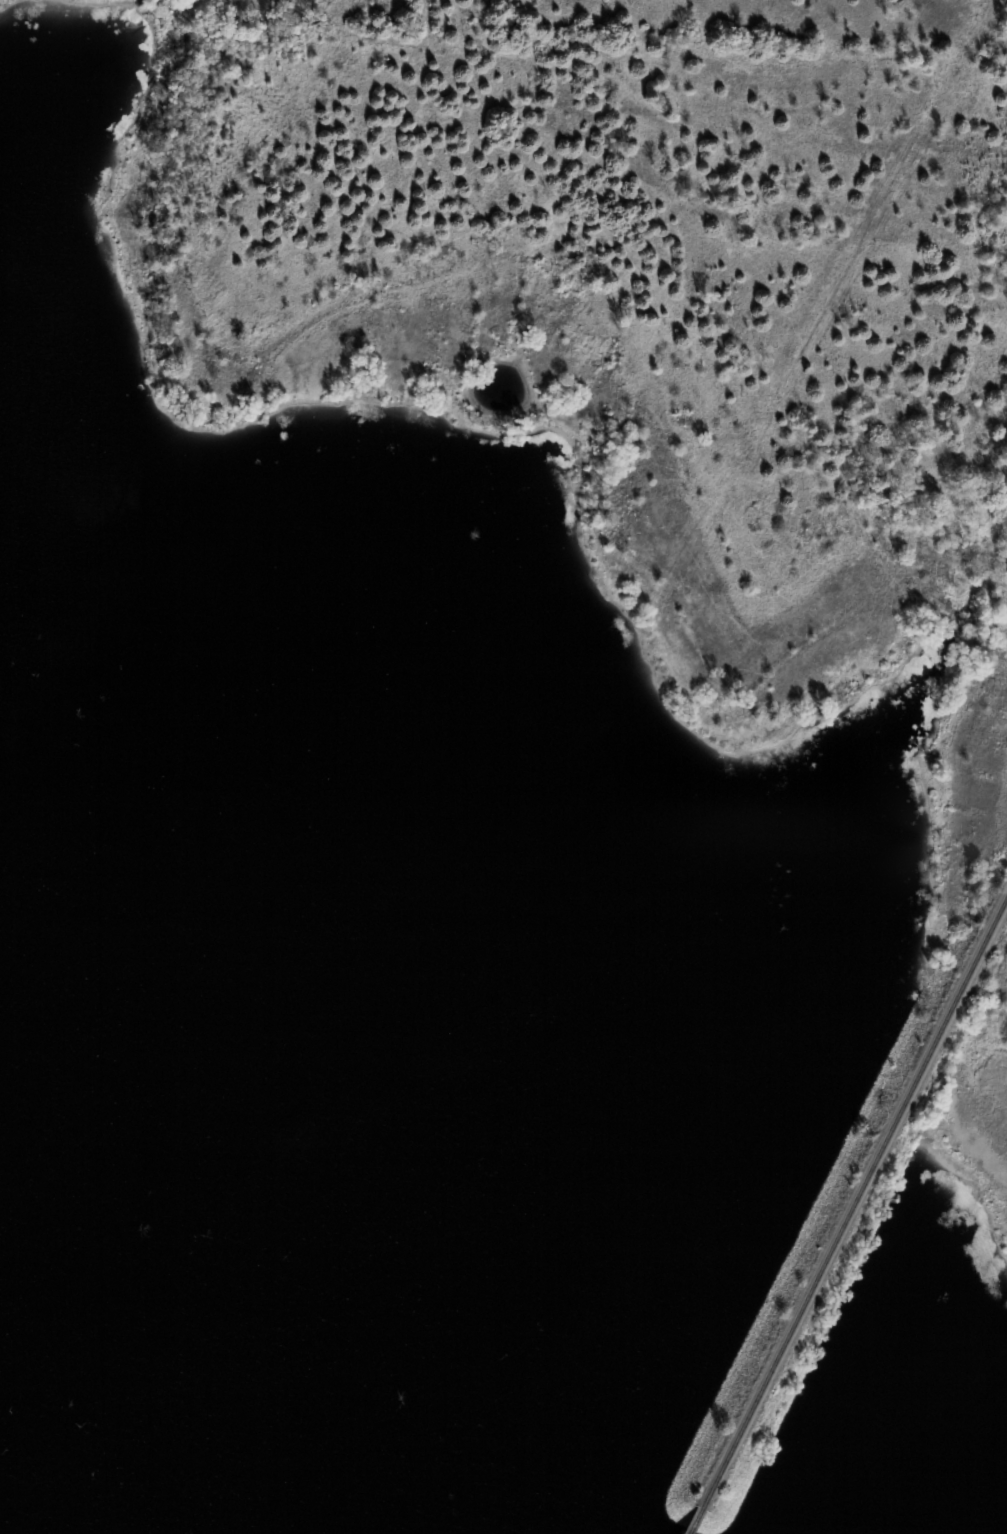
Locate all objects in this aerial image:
railway: (852, 1193)
railway: (689, 1518)

